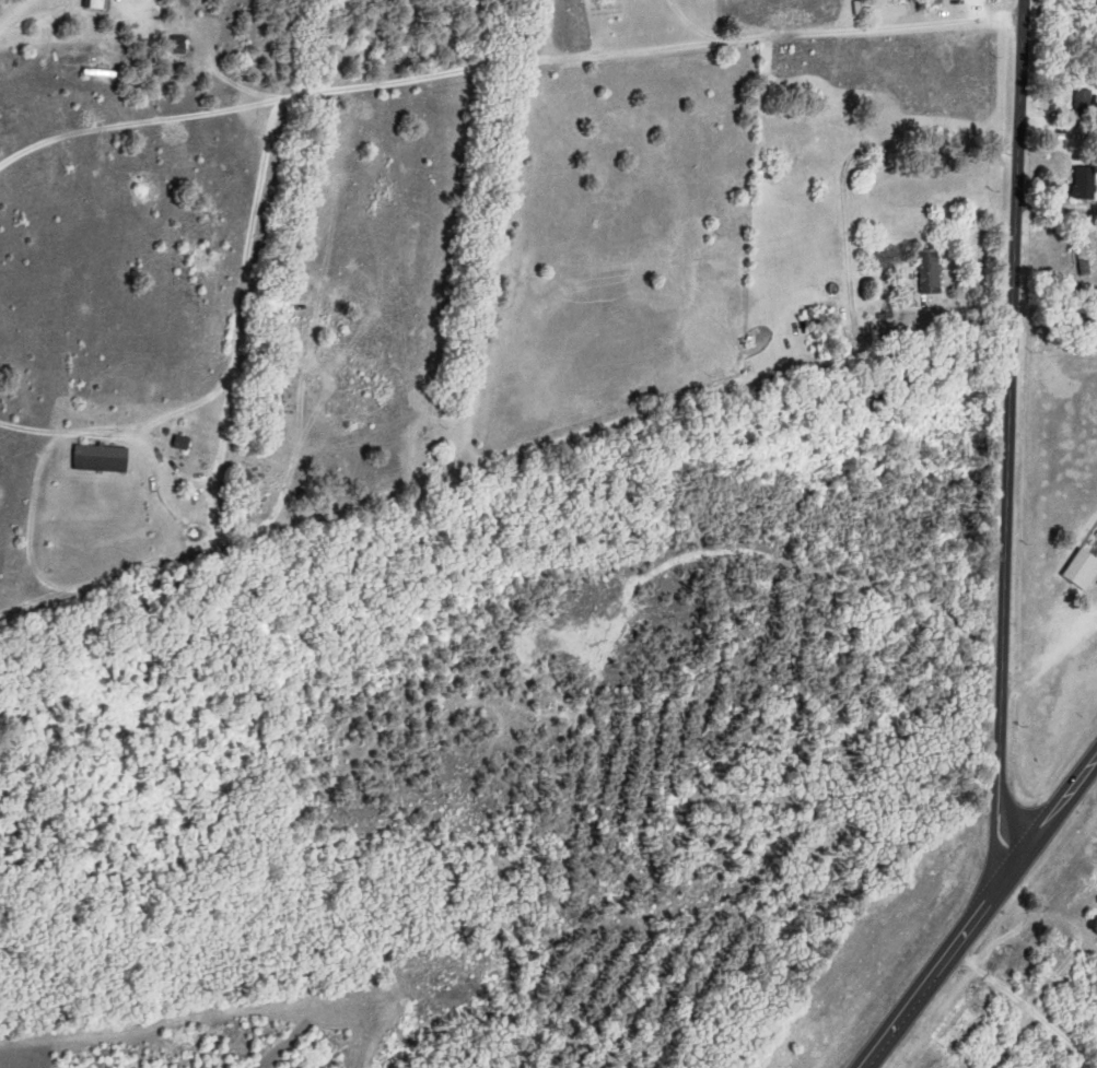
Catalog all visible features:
building: (97, 4)
building: (182, 44)
building: (1086, 103)
road: (933, 154)
building: (1087, 184)
building: (1085, 257)
building: (281, 396)
road: (1010, 435)
building: (184, 443)
building: (104, 459)
road: (980, 913)
road: (1025, 1005)

